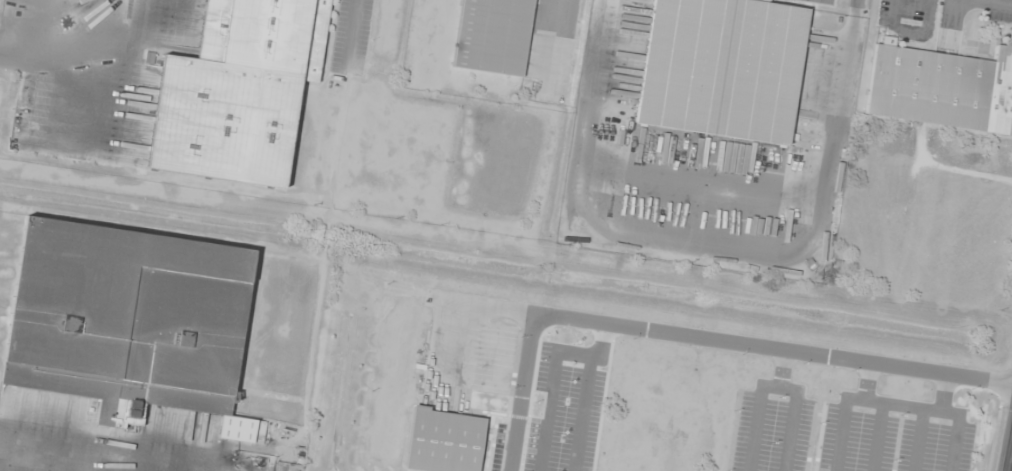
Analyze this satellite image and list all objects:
building: (492, 36)
building: (720, 68)
building: (941, 87)
building: (237, 91)
road: (455, 320)
building: (130, 321)
road: (696, 340)
road: (781, 370)
road: (864, 382)
road: (776, 387)
road: (942, 393)
road: (893, 404)
parking lot: (771, 427)
parking lot: (893, 435)
road: (876, 437)
road: (918, 440)
building: (442, 441)

